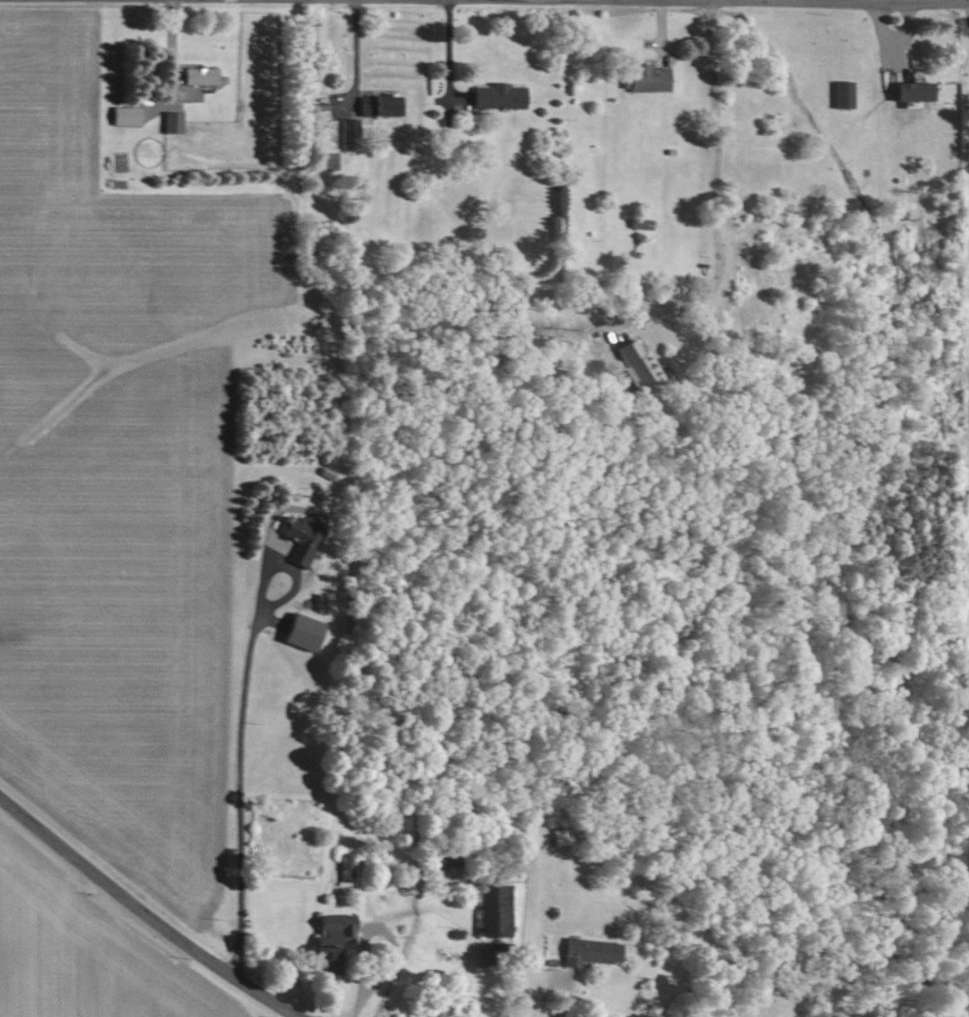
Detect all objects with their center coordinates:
road: (831, 2)
road: (353, 47)
building: (198, 76)
building: (645, 79)
building: (911, 92)
building: (841, 95)
building: (495, 97)
building: (375, 107)
building: (123, 117)
building: (170, 122)
building: (348, 134)
road: (715, 241)
building: (635, 362)
building: (298, 538)
building: (300, 631)
road: (239, 784)
building: (560, 837)
building: (445, 862)
building: (344, 868)
building: (492, 910)
road: (144, 914)
road: (380, 928)
building: (328, 936)
building: (588, 951)
road: (563, 995)
road: (354, 1007)

